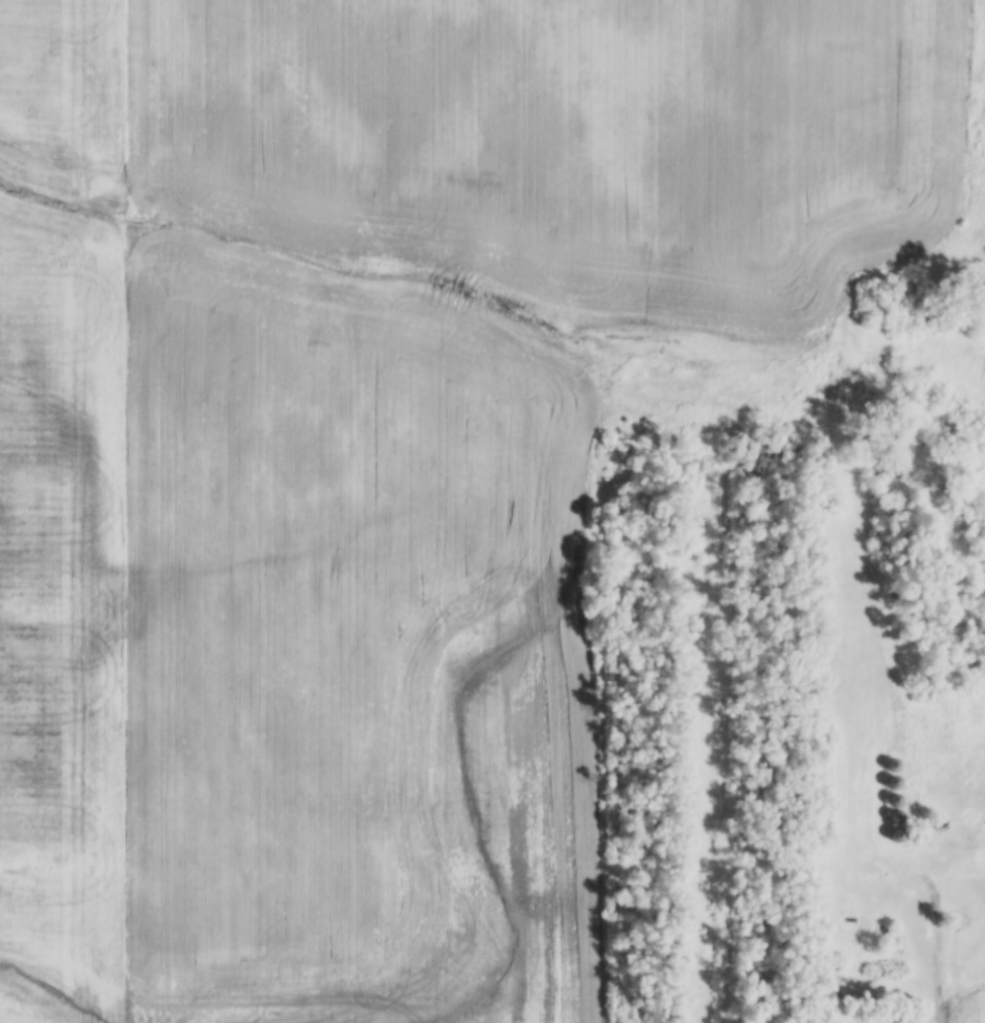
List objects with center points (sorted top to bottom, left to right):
road: (931, 941)

